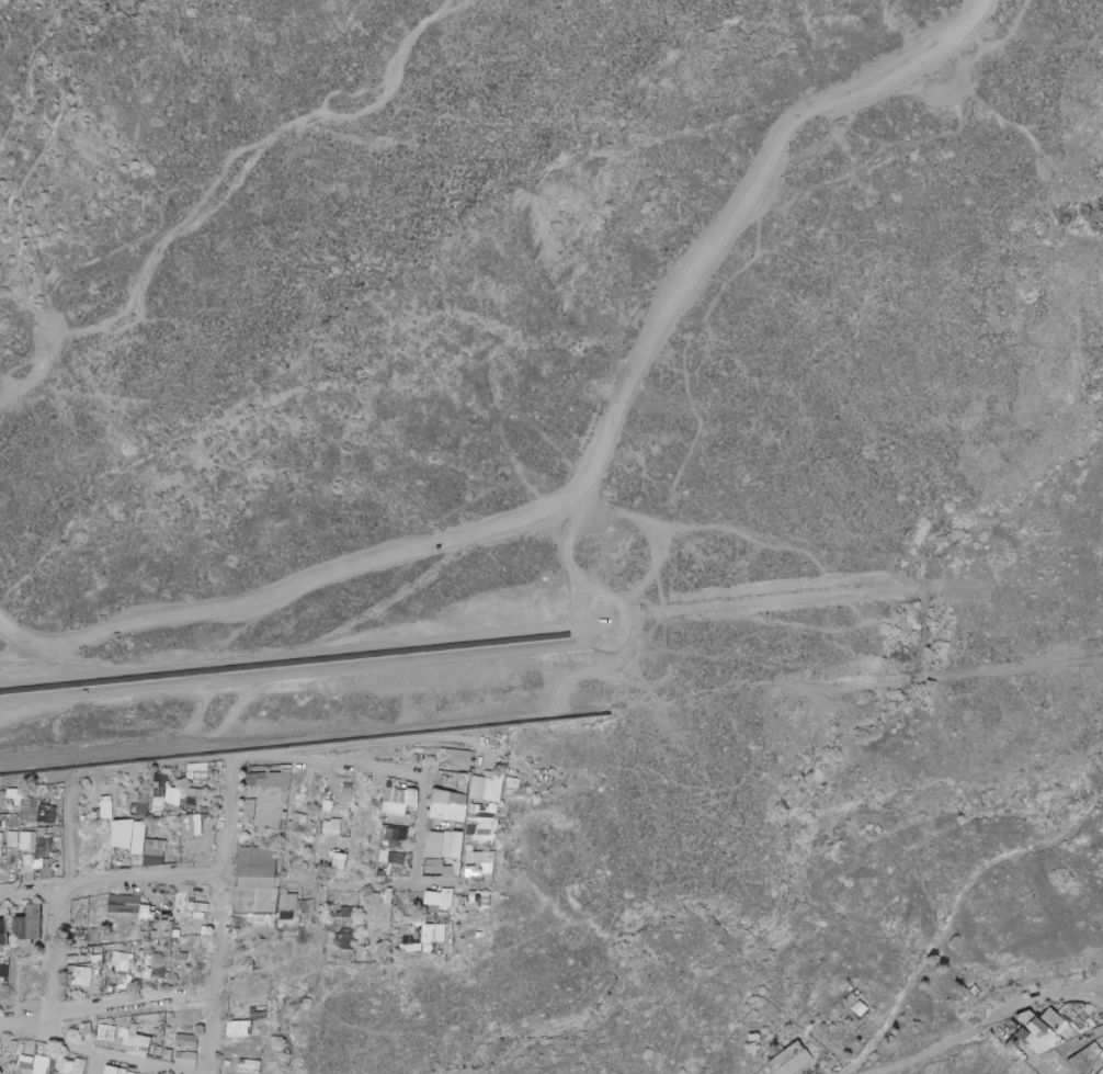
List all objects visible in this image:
road: (968, 29)
road: (262, 160)
road: (32, 191)
road: (710, 263)
road: (38, 375)
road: (661, 535)
road: (479, 542)
road: (585, 623)
road: (554, 642)
road: (285, 651)
road: (551, 715)
building: (457, 761)
road: (330, 762)
building: (217, 765)
building: (182, 769)
building: (248, 769)
building: (252, 770)
building: (196, 771)
building: (270, 779)
building: (159, 780)
building: (454, 781)
building: (386, 782)
building: (488, 787)
building: (4, 790)
building: (8, 790)
building: (398, 791)
building: (14, 793)
building: (341, 793)
building: (431, 793)
building: (389, 794)
building: (193, 795)
building: (401, 795)
building: (173, 796)
building: (447, 796)
building: (133, 800)
building: (433, 800)
building: (464, 800)
building: (181, 801)
building: (405, 801)
building: (42, 803)
building: (158, 803)
building: (412, 803)
building: (190, 804)
building: (106, 807)
building: (183, 809)
building: (393, 809)
building: (141, 810)
building: (204, 810)
building: (248, 810)
building: (30, 811)
building: (446, 811)
building: (46, 814)
building: (150, 814)
building: (282, 815)
building: (481, 816)
building: (116, 817)
building: (1, 821)
building: (382, 821)
building: (178, 822)
building: (298, 822)
building: (389, 822)
building: (3, 824)
building: (281, 824)
building: (59, 825)
building: (331, 826)
building: (141, 828)
building: (412, 828)
building: (82, 829)
road: (422, 829)
building: (382, 830)
building: (125, 834)
building: (195, 834)
building: (394, 834)
building: (481, 835)
building: (26, 840)
building: (42, 840)
building: (123, 840)
building: (395, 841)
building: (434, 841)
building: (452, 843)
building: (156, 845)
building: (7, 849)
building: (447, 851)
building: (43, 855)
building: (393, 857)
building: (153, 858)
building: (84, 859)
building: (342, 860)
building: (456, 860)
building: (482, 861)
building: (15, 862)
building: (37, 862)
building: (257, 862)
building: (92, 863)
building: (27, 864)
building: (79, 866)
building: (442, 866)
building: (36, 867)
building: (455, 867)
building: (105, 868)
building: (45, 869)
building: (436, 869)
building: (2, 871)
building: (3, 879)
building: (255, 882)
road: (111, 884)
road: (407, 884)
building: (206, 888)
building: (137, 894)
building: (169, 897)
building: (447, 897)
building: (433, 898)
building: (478, 900)
building: (181, 901)
building: (255, 901)
road: (64, 902)
building: (411, 902)
building: (287, 903)
building: (124, 904)
building: (298, 905)
building: (46, 906)
building: (193, 906)
building: (306, 906)
building: (203, 907)
building: (446, 907)
building: (414, 908)
building: (433, 908)
building: (151, 909)
building: (336, 909)
building: (405, 909)
building: (379, 911)
building: (352, 912)
building: (147, 913)
building: (186, 913)
building: (341, 913)
building: (262, 914)
road: (220, 915)
building: (285, 915)
building: (448, 915)
building: (441, 916)
building: (419, 917)
building: (34, 918)
building: (274, 919)
building: (423, 919)
building: (246, 920)
building: (262, 920)
building: (234, 922)
building: (237, 922)
building: (15, 923)
building: (26, 927)
building: (161, 929)
building: (430, 929)
building: (16, 931)
building: (150, 931)
building: (3, 934)
building: (78, 934)
building: (174, 934)
building: (92, 935)
building: (167, 941)
building: (345, 941)
building: (26, 942)
building: (249, 942)
building: (135, 943)
building: (169, 943)
building: (387, 945)
building: (397, 945)
building: (397, 947)
building: (410, 948)
building: (100, 950)
building: (148, 950)
building: (0, 954)
building: (139, 954)
building: (167, 956)
building: (372, 956)
building: (180, 957)
building: (1, 960)
building: (5, 960)
building: (148, 960)
building: (247, 961)
building: (384, 961)
building: (128, 965)
building: (167, 968)
building: (157, 970)
building: (3, 971)
building: (83, 971)
building: (93, 971)
building: (166, 974)
building: (152, 976)
road: (1091, 977)
building: (0, 979)
building: (4, 980)
building: (163, 981)
building: (136, 982)
building: (146, 983)
building: (101, 985)
building: (121, 988)
road: (1091, 993)
road: (109, 1003)
building: (170, 1015)
building: (259, 1016)
building: (1051, 1016)
building: (158, 1018)
building: (1027, 1018)
building: (158, 1021)
road: (973, 1027)
building: (84, 1028)
building: (1041, 1028)
building: (105, 1031)
building: (157, 1031)
road: (680, 1032)
building: (123, 1035)
road: (878, 1035)
building: (96, 1039)
building: (105, 1039)
building: (185, 1040)
building: (137, 1042)
building: (37, 1049)
building: (167, 1054)
road: (111, 1058)
building: (184, 1059)
building: (794, 1060)
building: (56, 1061)
building: (26, 1062)
building: (68, 1064)
road: (93, 1064)
building: (255, 1066)
building: (37, 1070)
building: (52, 1070)
building: (65, 1071)
building: (114, 1071)
building: (0, 1072)
building: (128, 1073)

